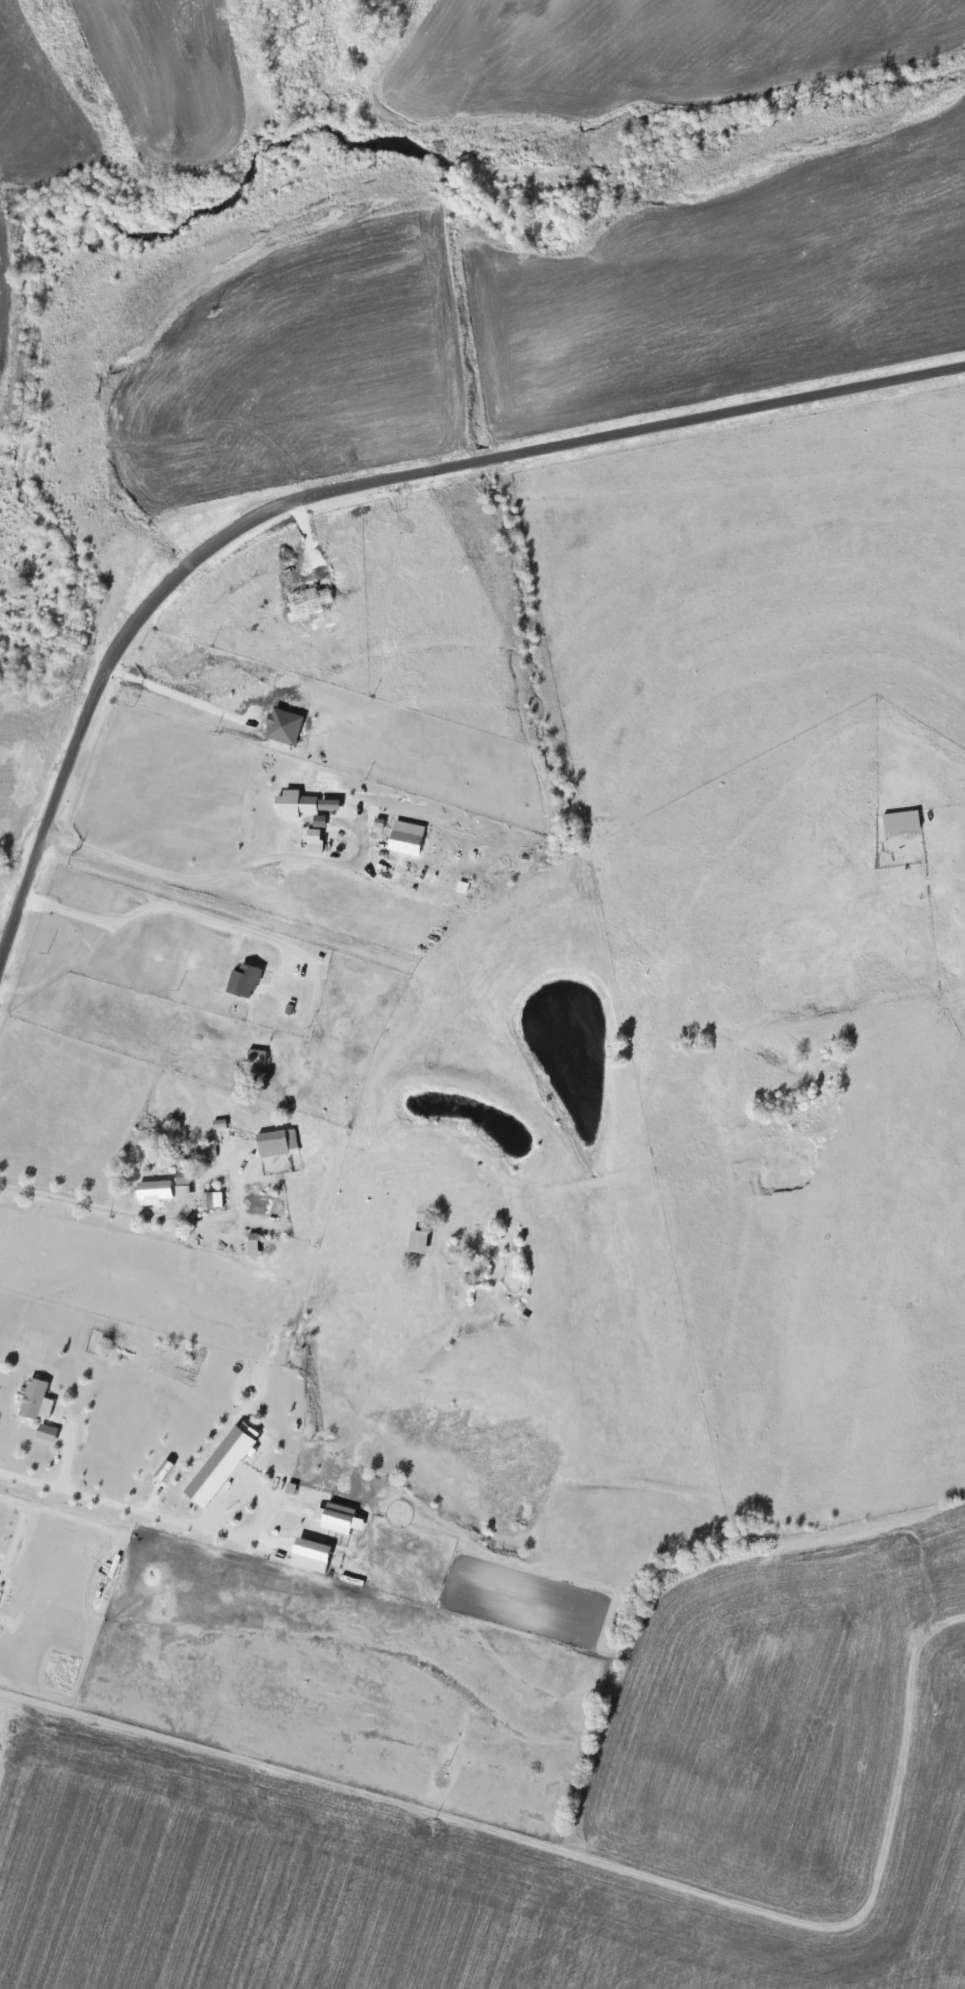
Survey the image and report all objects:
road: (338, 488)
building: (295, 804)
building: (329, 805)
building: (319, 821)
building: (901, 821)
building: (405, 838)
building: (314, 841)
road: (935, 879)
road: (204, 885)
road: (133, 915)
building: (243, 982)
building: (256, 1057)
building: (276, 1144)
building: (211, 1151)
building: (182, 1178)
building: (154, 1193)
building: (211, 1200)
road: (64, 1211)
building: (418, 1243)
building: (35, 1400)
building: (46, 1433)
building: (222, 1464)
road: (105, 1512)
building: (338, 1519)
building: (309, 1554)
road: (510, 1823)

